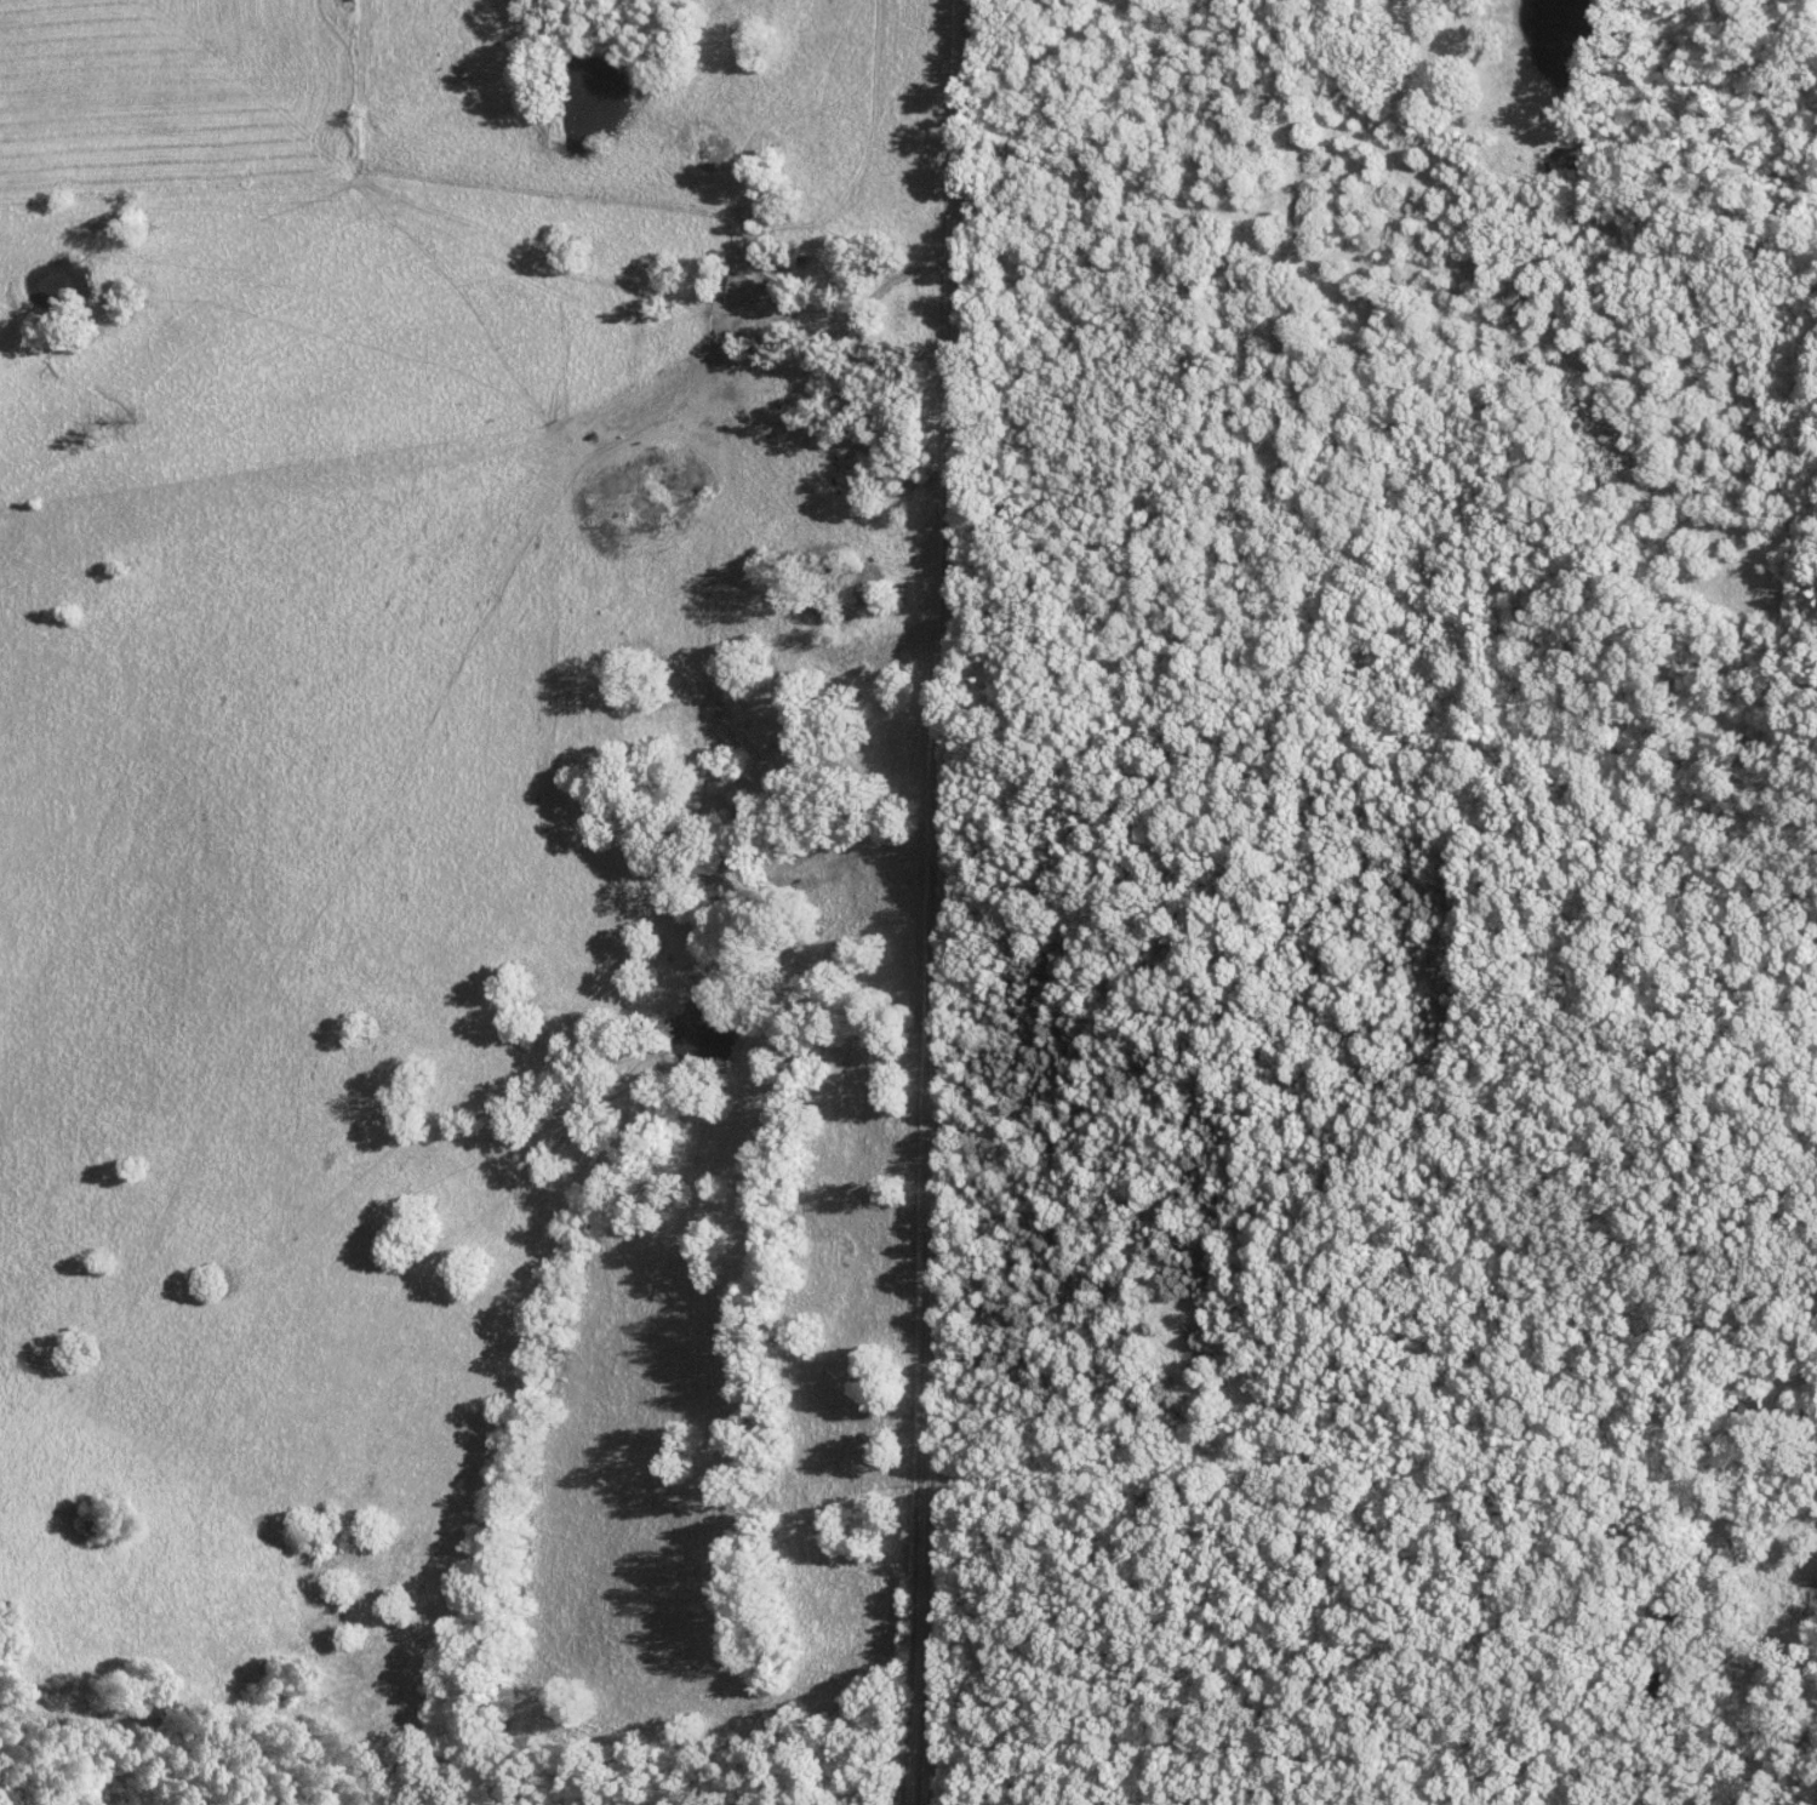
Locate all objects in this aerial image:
road: (941, 902)
building: (1747, 1404)

